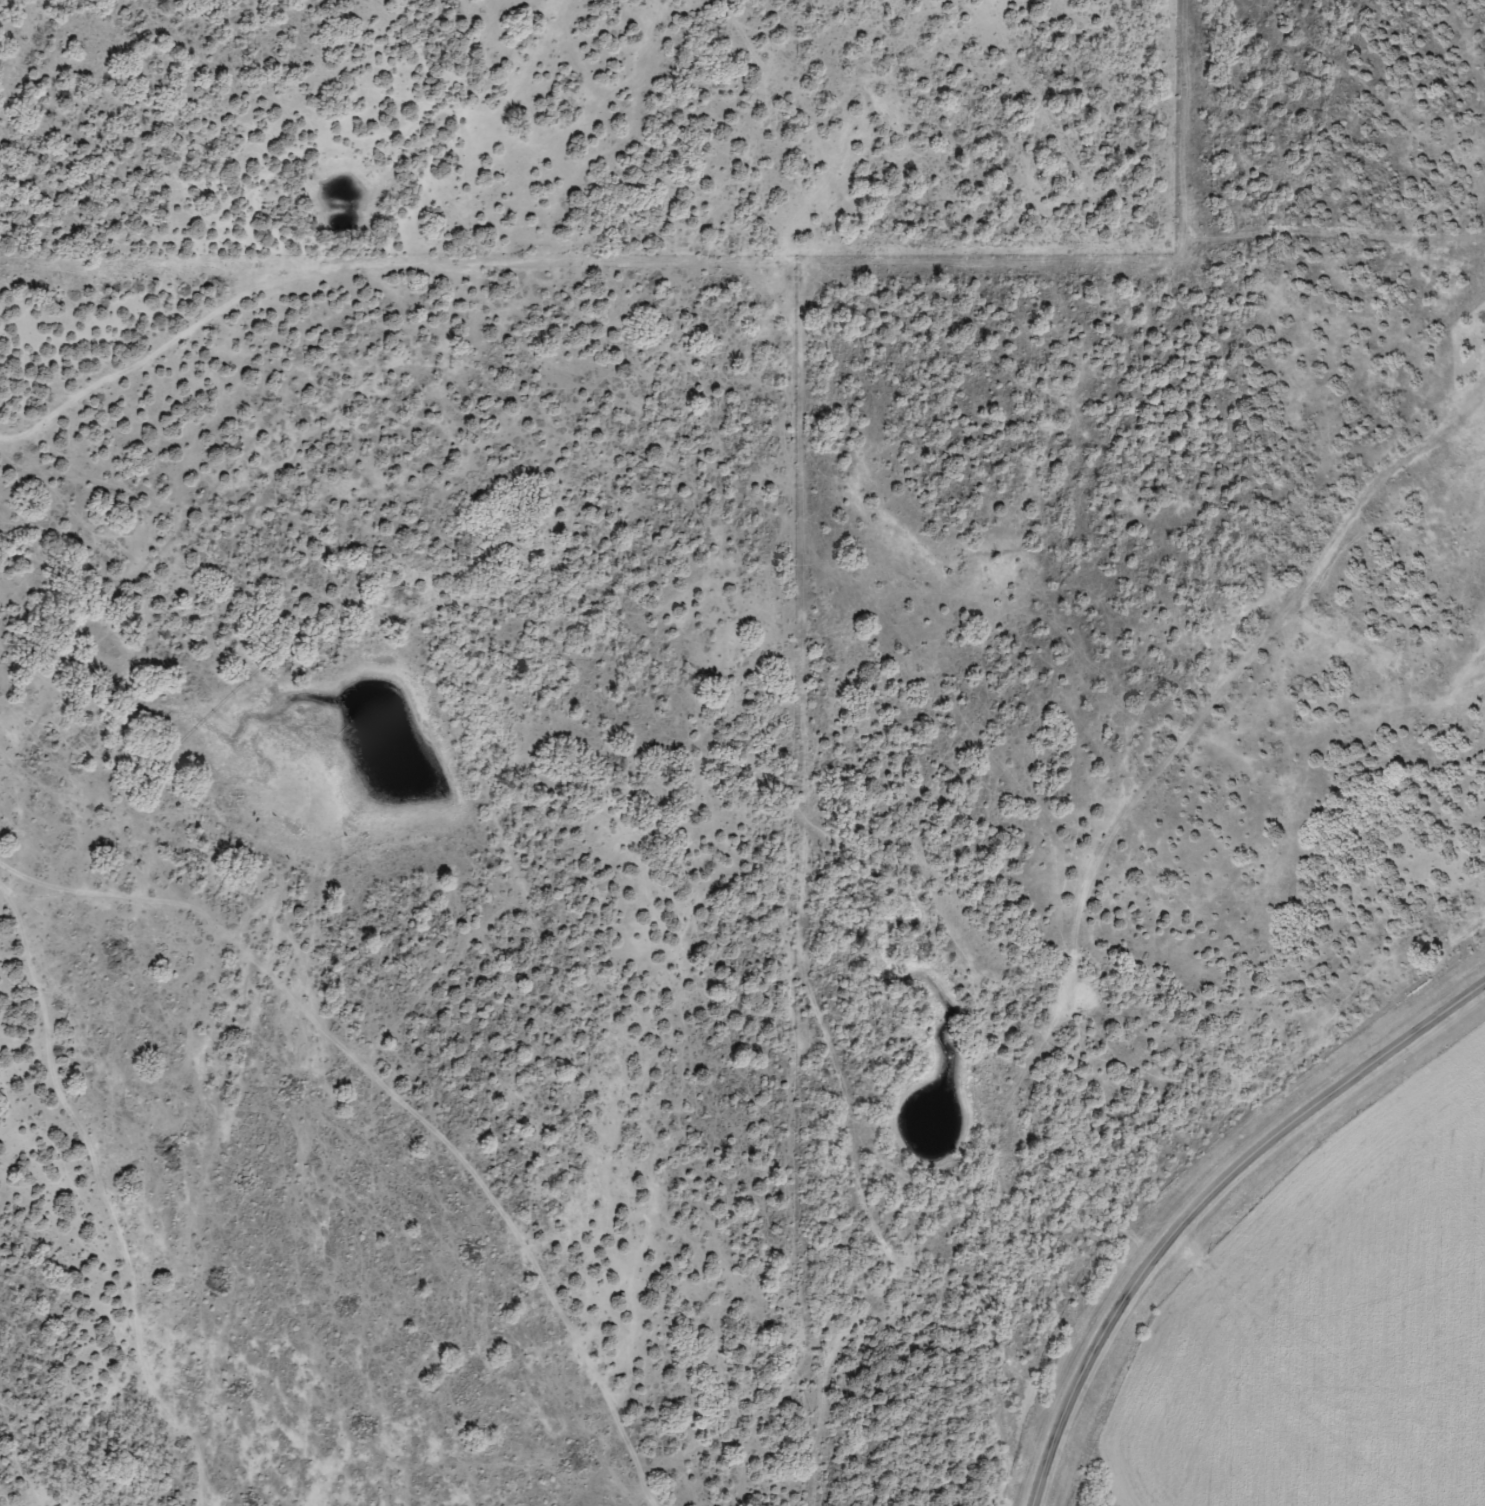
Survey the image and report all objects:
road: (1205, 1200)

